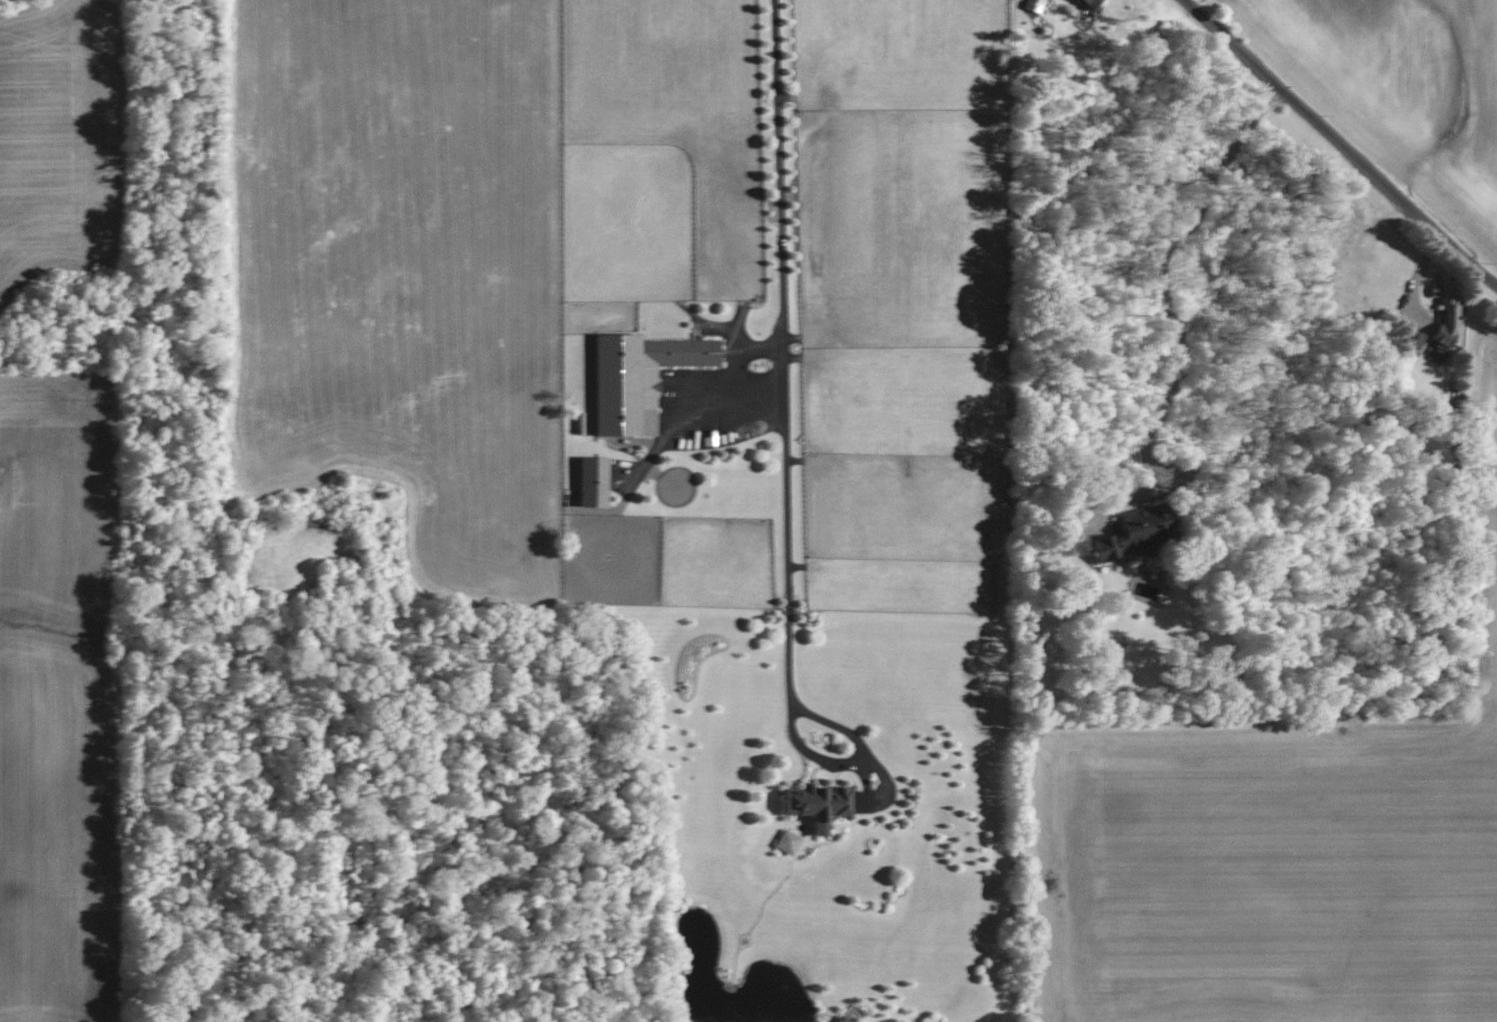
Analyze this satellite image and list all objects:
building: (1089, 3)
building: (1033, 5)
road: (1342, 142)
building: (1446, 312)
road: (1179, 331)
building: (1412, 341)
road: (784, 355)
building: (638, 378)
building: (593, 481)
building: (1136, 531)
building: (818, 803)
building: (787, 842)

